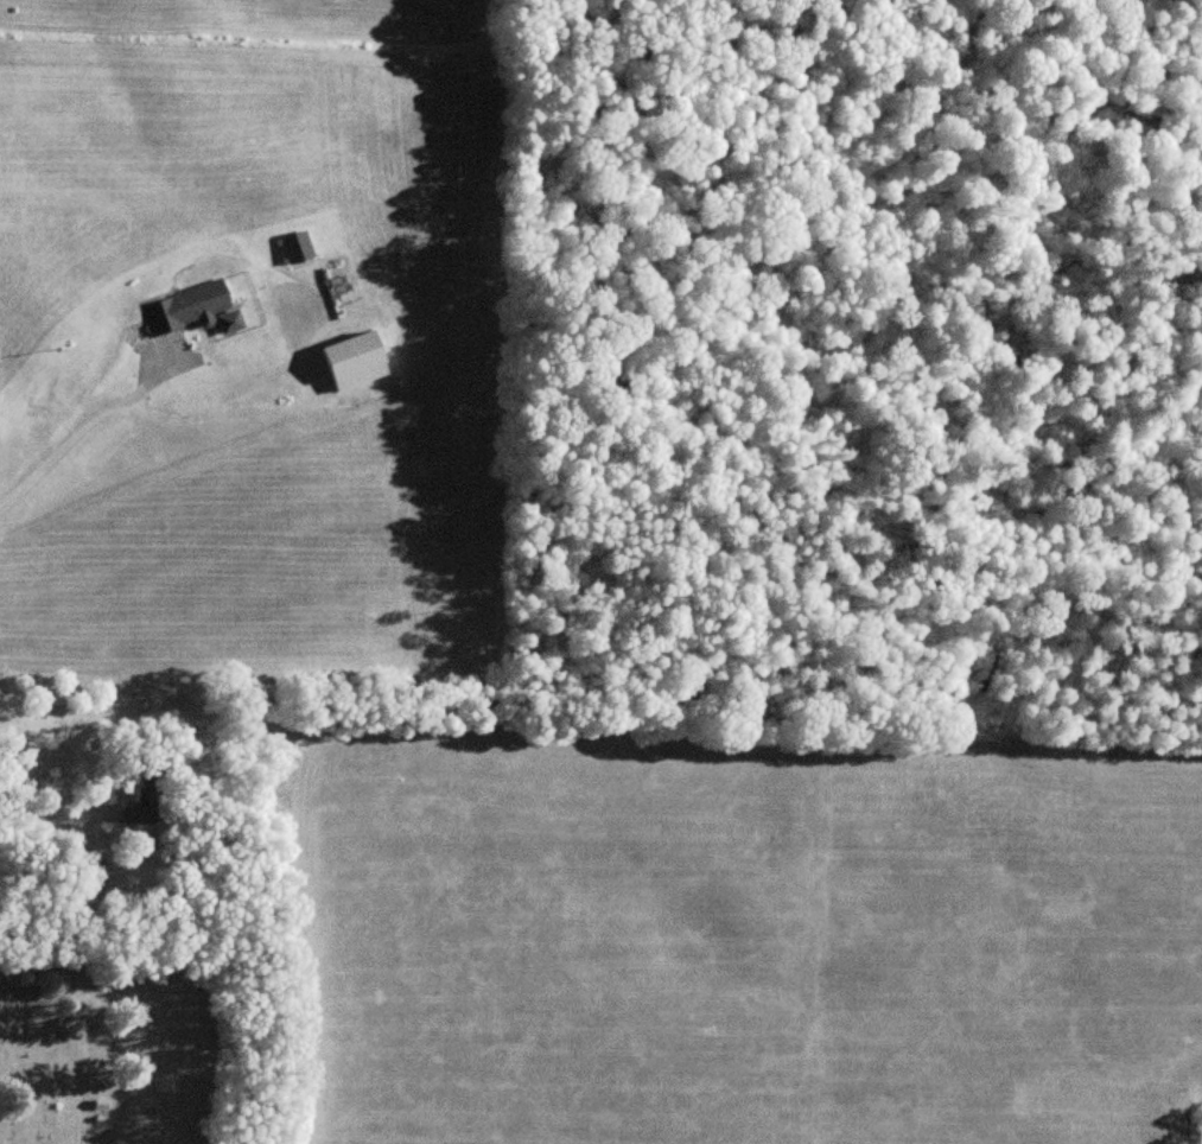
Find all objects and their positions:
building: (183, 313)
road: (82, 420)
building: (147, 799)
park: (116, 1018)

